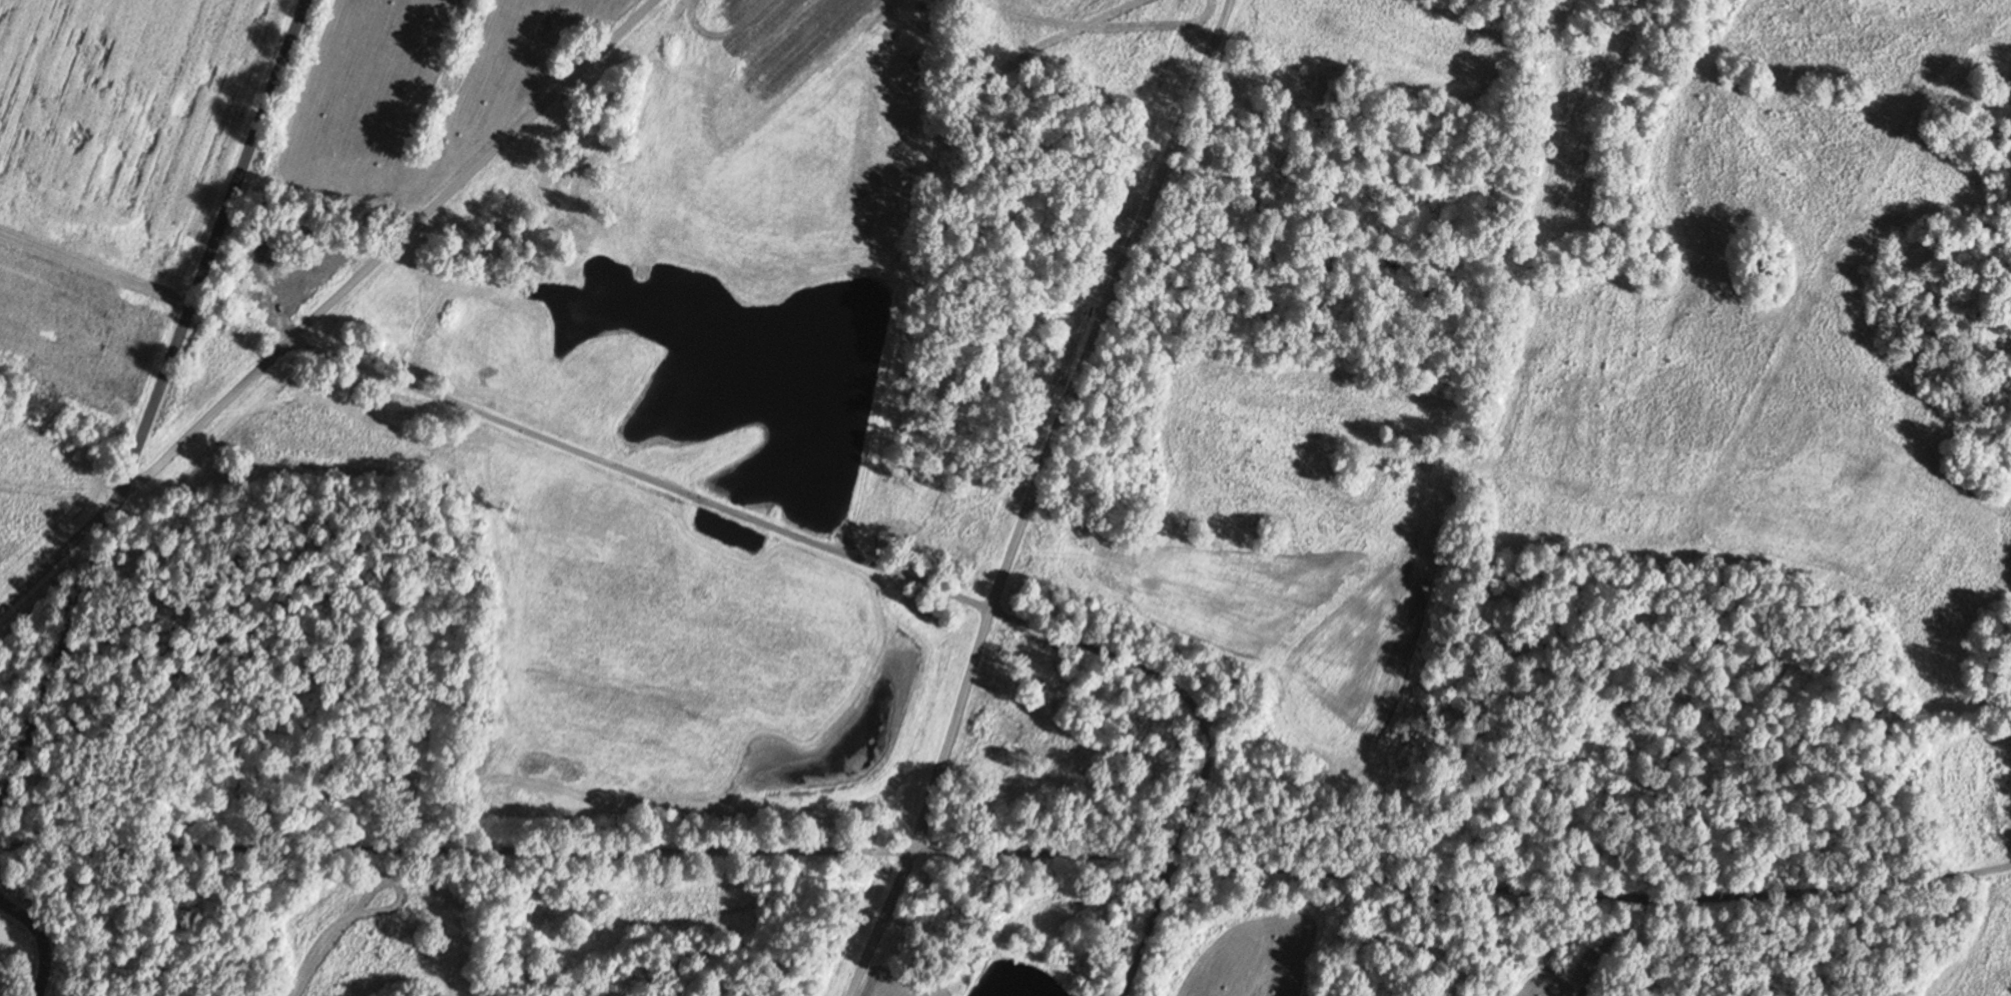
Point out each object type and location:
road: (469, 172)
road: (154, 404)
road: (202, 420)
road: (1032, 494)
road: (56, 556)
road: (882, 573)
road: (1007, 857)
road: (42, 938)

